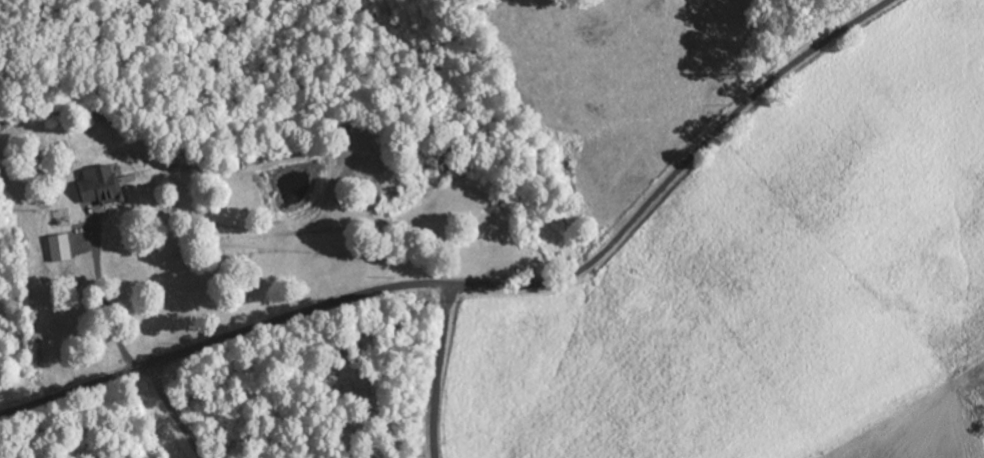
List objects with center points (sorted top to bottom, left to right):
building: (96, 186)
road: (487, 286)
road: (436, 371)
road: (172, 411)

